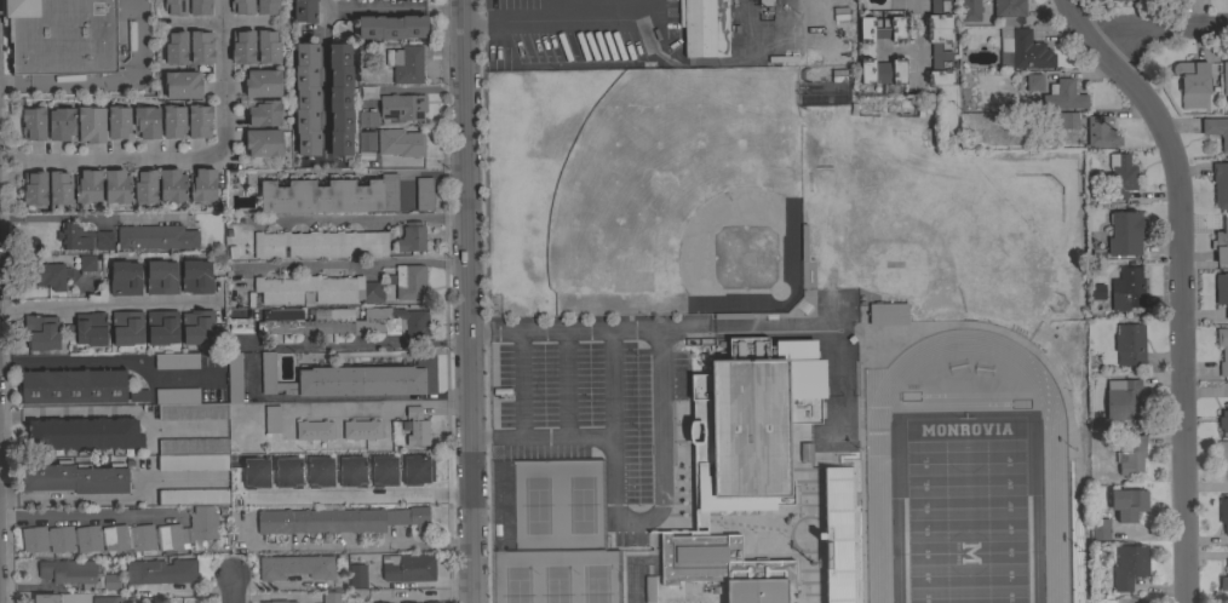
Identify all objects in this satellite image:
building: (1119, 0)
road: (442, 1)
road: (371, 2)
building: (765, 2)
building: (928, 4)
building: (241, 6)
building: (266, 6)
building: (174, 7)
building: (200, 7)
building: (303, 10)
building: (969, 10)
road: (487, 11)
building: (1009, 11)
road: (219, 21)
road: (536, 21)
road: (609, 21)
road: (474, 23)
building: (391, 25)
road: (1153, 25)
building: (704, 27)
building: (880, 29)
building: (62, 35)
road: (916, 38)
building: (939, 42)
building: (242, 46)
building: (266, 46)
building: (176, 47)
building: (200, 47)
building: (1026, 50)
building: (404, 63)
building: (882, 70)
building: (838, 75)
road: (115, 77)
building: (373, 77)
building: (1224, 79)
road: (322, 80)
road: (6, 82)
building: (262, 82)
building: (1033, 82)
building: (1192, 82)
building: (182, 85)
building: (814, 96)
building: (1062, 96)
building: (339, 98)
building: (306, 99)
building: (395, 109)
building: (263, 113)
building: (173, 120)
building: (199, 120)
building: (1068, 120)
building: (117, 121)
building: (145, 121)
building: (33, 122)
building: (61, 124)
building: (90, 124)
building: (1216, 130)
building: (1101, 132)
building: (366, 139)
building: (263, 142)
building: (400, 142)
road: (189, 154)
building: (1120, 176)
building: (202, 184)
building: (1220, 184)
building: (116, 185)
building: (172, 185)
building: (87, 186)
building: (144, 186)
building: (34, 188)
building: (59, 188)
building: (160, 188)
building: (423, 193)
park: (681, 194)
building: (329, 195)
building: (404, 196)
road: (365, 216)
road: (92, 217)
building: (1126, 231)
building: (411, 236)
building: (82, 237)
building: (155, 237)
building: (1220, 241)
building: (803, 242)
building: (319, 243)
road: (356, 263)
building: (87, 264)
building: (50, 272)
building: (195, 276)
building: (124, 277)
building: (161, 277)
building: (409, 281)
road: (1176, 283)
building: (308, 288)
building: (1126, 289)
building: (1221, 289)
building: (372, 291)
building: (1096, 291)
road: (464, 300)
road: (107, 303)
building: (888, 314)
building: (733, 315)
building: (343, 321)
building: (196, 326)
building: (240, 326)
building: (126, 327)
building: (161, 327)
building: (88, 328)
building: (41, 332)
road: (490, 337)
road: (632, 337)
road: (566, 338)
building: (1129, 344)
building: (725, 349)
building: (1222, 350)
road: (326, 358)
building: (176, 360)
road: (102, 361)
building: (234, 377)
building: (354, 378)
building: (71, 385)
road: (568, 389)
road: (613, 389)
road: (518, 390)
building: (138, 395)
building: (1124, 401)
road: (375, 403)
parking lot: (590, 403)
building: (185, 404)
road: (114, 410)
building: (271, 418)
building: (1223, 419)
building: (750, 421)
road: (656, 425)
building: (415, 426)
building: (360, 429)
building: (314, 430)
building: (82, 433)
road: (567, 441)
road: (492, 442)
building: (805, 452)
building: (193, 454)
building: (1223, 454)
building: (1130, 455)
building: (413, 461)
building: (374, 467)
building: (279, 472)
building: (310, 472)
building: (345, 472)
building: (247, 473)
building: (75, 478)
track: (964, 481)
road: (356, 495)
building: (193, 496)
building: (1127, 502)
park: (962, 509)
road: (85, 513)
building: (1223, 513)
building: (1074, 517)
building: (339, 519)
building: (1100, 528)
building: (414, 532)
park: (553, 532)
park: (552, 533)
building: (122, 534)
building: (836, 535)
road: (357, 545)
road: (631, 555)
building: (1075, 558)
building: (1129, 565)
building: (295, 567)
building: (407, 567)
building: (724, 567)
building: (67, 570)
building: (161, 570)
building: (356, 575)
building: (1224, 579)
building: (108, 581)
road: (231, 590)
building: (649, 590)
building: (1077, 592)
building: (61, 597)
building: (331, 597)
building: (105, 599)
building: (277, 601)
building: (408, 602)
building: (432, 602)

